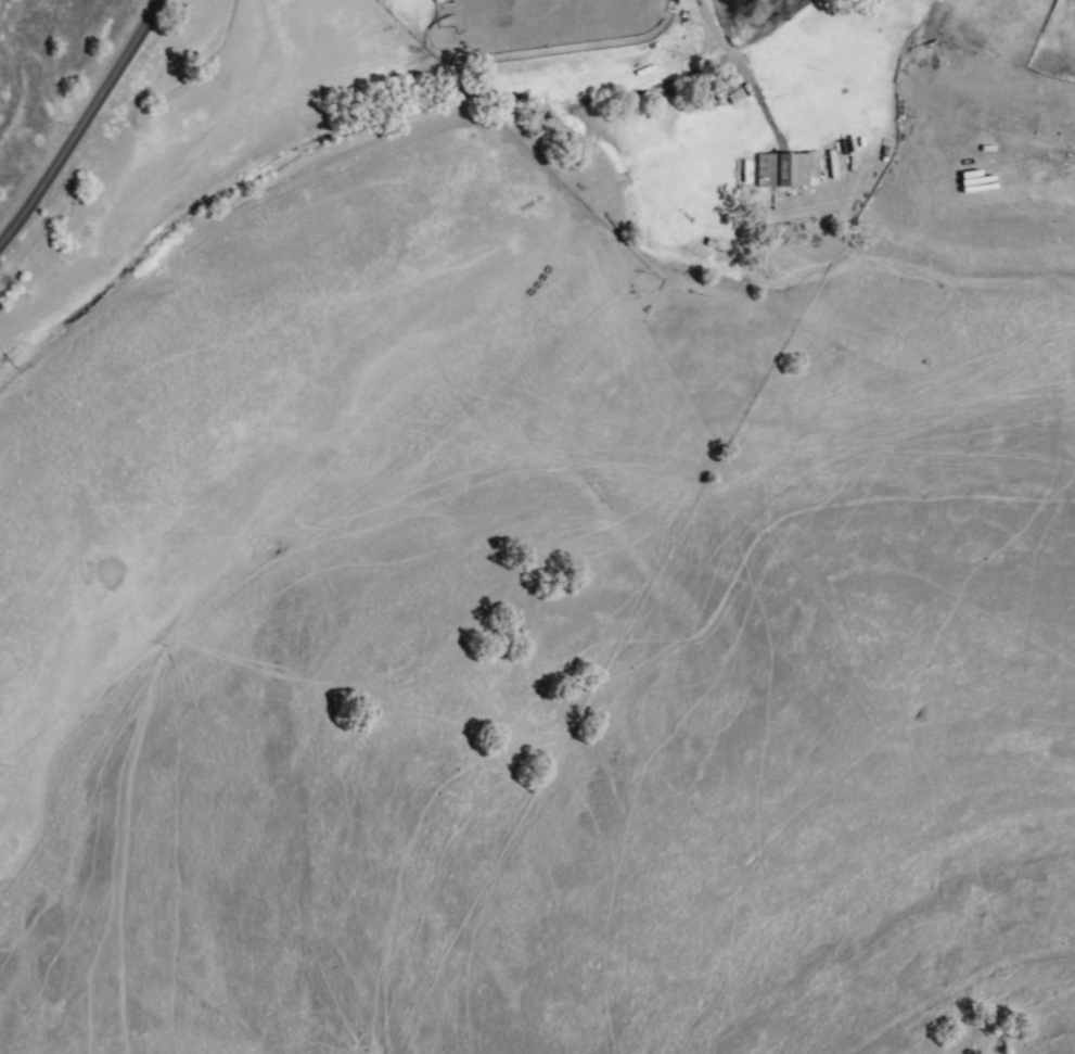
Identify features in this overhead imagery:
road: (734, 64)
building: (729, 86)
road: (85, 125)
building: (791, 170)

